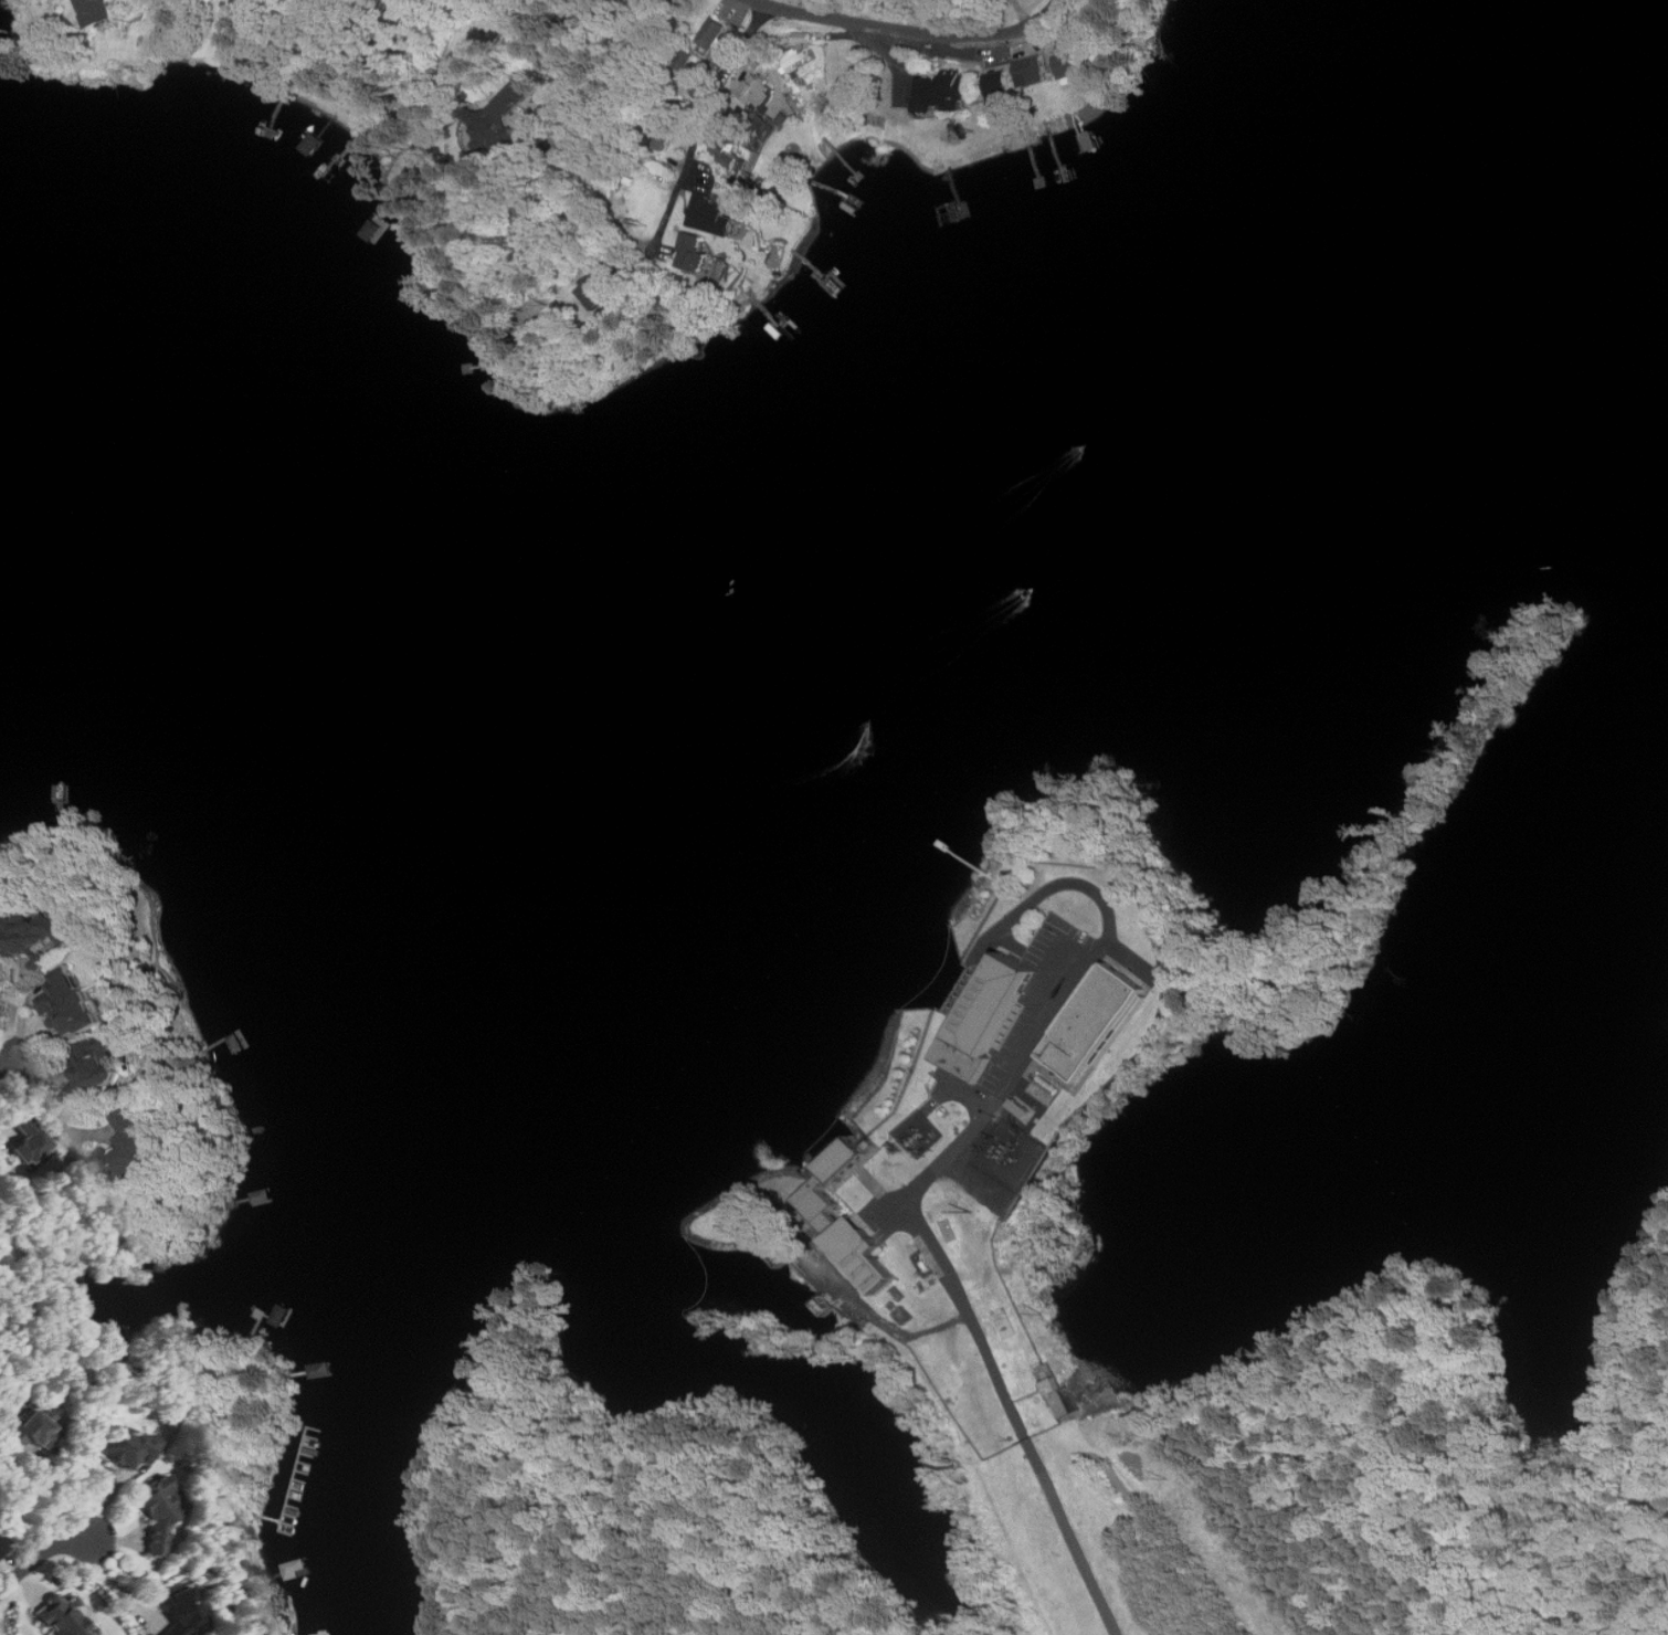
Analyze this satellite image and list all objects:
building: (95, 11)
road: (922, 15)
road: (911, 30)
building: (712, 32)
building: (553, 55)
building: (794, 56)
building: (1069, 63)
road: (591, 70)
building: (1033, 70)
building: (1000, 83)
building: (758, 89)
building: (944, 89)
building: (500, 116)
road: (704, 120)
building: (657, 138)
building: (731, 150)
road: (583, 207)
building: (711, 214)
building: (695, 251)
building: (593, 293)
river: (1131, 413)
river: (299, 645)
building: (32, 935)
building: (0, 1000)
building: (68, 1002)
building: (986, 1019)
building: (1094, 1022)
road: (7, 1059)
building: (93, 1068)
road: (993, 1105)
road: (51, 1112)
building: (29, 1138)
building: (127, 1147)
building: (843, 1160)
building: (848, 1240)
building: (31, 1428)
road: (1027, 1435)
building: (119, 1446)
building: (156, 1509)
building: (2, 1544)
road: (43, 1555)
road: (113, 1582)
building: (182, 1608)
building: (62, 1615)

